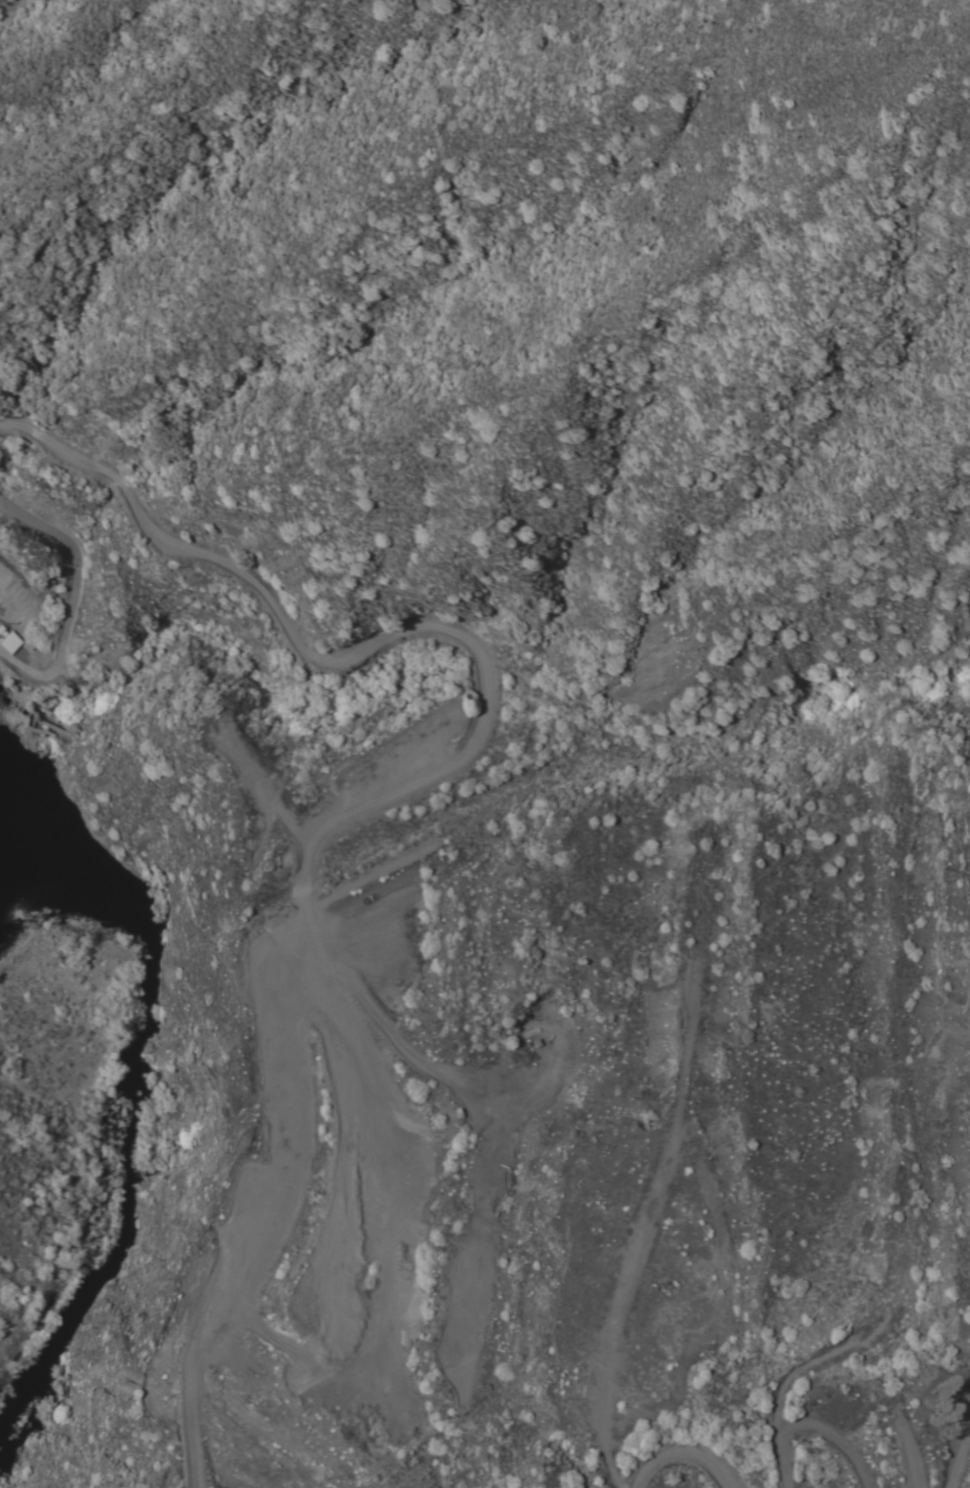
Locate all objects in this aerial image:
building: (11, 641)
river: (137, 983)
river: (40, 1154)
river: (43, 1324)

